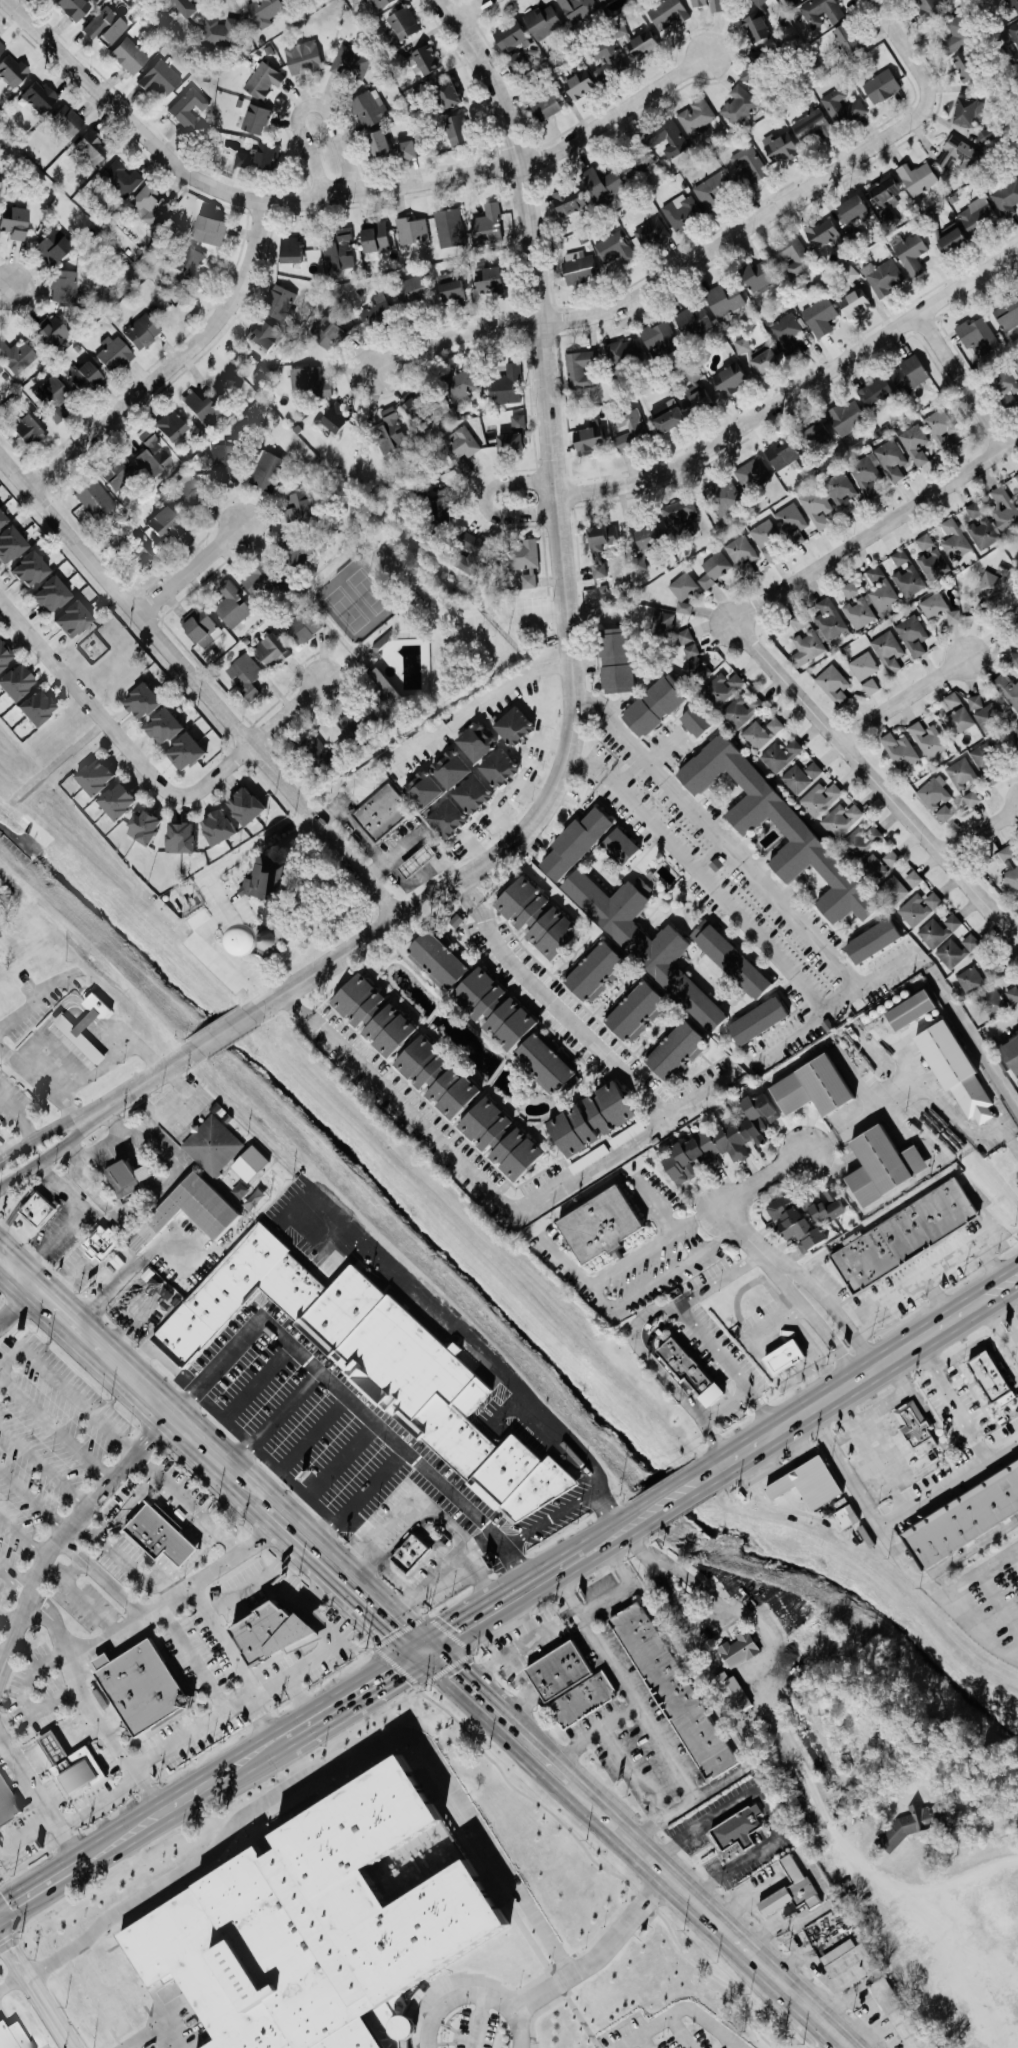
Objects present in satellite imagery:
building: (602, 1)
building: (756, 2)
building: (378, 3)
building: (709, 4)
building: (1011, 6)
building: (187, 7)
building: (929, 7)
building: (78, 8)
road: (468, 9)
building: (577, 9)
building: (267, 11)
building: (820, 12)
building: (666, 13)
building: (542, 22)
building: (403, 23)
building: (108, 26)
building: (756, 28)
building: (619, 30)
building: (221, 31)
building: (1011, 32)
building: (509, 36)
building: (844, 39)
building: (954, 42)
building: (640, 45)
building: (3, 48)
road: (905, 49)
building: (132, 57)
building: (306, 57)
building: (519, 58)
building: (423, 59)
building: (608, 61)
building: (351, 65)
building: (15, 71)
building: (163, 78)
building: (266, 80)
building: (577, 85)
building: (880, 86)
building: (445, 96)
building: (42, 97)
road: (309, 104)
building: (739, 105)
building: (842, 106)
building: (369, 108)
building: (544, 108)
building: (191, 109)
building: (966, 111)
building: (696, 116)
building: (259, 119)
building: (70, 122)
building: (810, 125)
building: (455, 129)
building: (668, 137)
building: (984, 137)
building: (376, 144)
building: (779, 146)
building: (94, 149)
building: (403, 150)
building: (956, 156)
building: (262, 157)
building: (637, 165)
building: (748, 165)
building: (917, 178)
building: (123, 179)
building: (601, 185)
building: (713, 189)
building: (883, 190)
road: (345, 193)
building: (1006, 196)
building: (151, 205)
building: (851, 209)
building: (680, 210)
building: (976, 214)
building: (18, 224)
building: (486, 226)
building: (449, 227)
building: (212, 230)
building: (411, 230)
building: (651, 232)
building: (822, 235)
building: (378, 238)
building: (949, 240)
building: (56, 248)
building: (614, 248)
building: (297, 251)
building: (342, 251)
building: (909, 251)
building: (792, 256)
building: (194, 258)
building: (576, 267)
road: (666, 274)
building: (883, 275)
building: (756, 276)
building: (486, 280)
building: (65, 286)
building: (408, 289)
road: (5, 290)
building: (449, 291)
building: (723, 300)
building: (282, 301)
building: (853, 302)
road: (536, 308)
building: (375, 310)
building: (1007, 314)
building: (819, 316)
building: (691, 320)
building: (55, 331)
building: (145, 331)
building: (324, 331)
building: (267, 335)
building: (977, 335)
building: (657, 336)
building: (786, 336)
building: (622, 352)
building: (117, 354)
building: (755, 356)
building: (16, 357)
building: (1016, 362)
road: (172, 363)
building: (580, 367)
building: (0, 372)
road: (967, 373)
building: (907, 374)
building: (89, 378)
building: (728, 379)
building: (308, 380)
building: (458, 382)
building: (506, 385)
building: (1006, 386)
building: (874, 391)
road: (795, 392)
building: (53, 397)
building: (699, 399)
building: (409, 405)
building: (199, 408)
building: (846, 416)
building: (333, 417)
building: (666, 418)
building: (168, 426)
building: (941, 428)
building: (25, 429)
building: (630, 429)
building: (388, 431)
building: (812, 434)
building: (513, 435)
building: (585, 439)
building: (914, 441)
building: (462, 448)
building: (150, 453)
building: (781, 454)
building: (891, 459)
building: (221, 460)
building: (265, 470)
building: (866, 471)
building: (117, 473)
building: (752, 473)
building: (1016, 477)
building: (841, 488)
building: (184, 495)
building: (723, 496)
building: (1017, 497)
building: (91, 498)
road: (484, 500)
building: (298, 503)
building: (817, 507)
building: (1002, 509)
building: (677, 513)
building: (792, 522)
building: (159, 523)
building: (981, 526)
building: (690, 527)
road: (873, 527)
building: (765, 533)
building: (643, 536)
building: (600, 537)
building: (954, 540)
building: (8, 541)
building: (468, 542)
building: (137, 550)
building: (742, 555)
building: (930, 556)
building: (899, 557)
building: (525, 561)
building: (637, 564)
building: (714, 568)
building: (25, 570)
road: (194, 572)
building: (254, 580)
building: (907, 580)
building: (989, 587)
building: (850, 590)
building: (881, 590)
building: (682, 591)
building: (46, 595)
building: (231, 606)
building: (940, 609)
building: (859, 613)
building: (1015, 615)
building: (67, 619)
building: (830, 620)
building: (661, 623)
park: (422, 626)
building: (304, 627)
building: (201, 628)
building: (913, 635)
building: (806, 641)
building: (269, 647)
building: (888, 650)
building: (3, 655)
building: (692, 657)
building: (1012, 658)
building: (612, 659)
building: (863, 665)
building: (245, 674)
building: (12, 682)
building: (383, 684)
building: (833, 684)
road: (201, 685)
building: (870, 686)
building: (722, 688)
building: (1007, 688)
road: (907, 696)
building: (952, 700)
building: (138, 701)
building: (975, 702)
road: (476, 704)
building: (651, 705)
building: (31, 707)
building: (741, 708)
road: (285, 713)
building: (988, 716)
building: (692, 720)
building: (959, 720)
building: (346, 722)
building: (510, 725)
building: (160, 726)
building: (1016, 732)
building: (762, 733)
building: (928, 739)
road: (115, 740)
building: (472, 741)
building: (313, 747)
road: (667, 749)
building: (900, 750)
building: (181, 751)
building: (985, 754)
building: (781, 755)
building: (495, 766)
building: (447, 768)
building: (961, 773)
building: (91, 776)
building: (801, 776)
road: (891, 782)
building: (421, 790)
building: (469, 794)
building: (933, 794)
building: (820, 799)
building: (971, 799)
building: (113, 800)
building: (241, 805)
building: (379, 812)
building: (944, 813)
building: (444, 818)
building: (841, 819)
building: (215, 825)
building: (790, 826)
road: (984, 826)
building: (141, 827)
building: (177, 837)
building: (862, 840)
building: (572, 842)
building: (617, 845)
building: (892, 858)
building: (414, 860)
road: (475, 867)
building: (874, 868)
building: (1010, 868)
building: (261, 879)
building: (914, 879)
building: (894, 890)
road: (662, 895)
building: (920, 908)
building: (531, 916)
road: (610, 918)
building: (453, 921)
road: (808, 927)
building: (938, 931)
building: (640, 939)
building: (870, 941)
building: (955, 951)
building: (432, 958)
building: (727, 959)
building: (589, 972)
building: (969, 978)
building: (999, 1000)
road: (558, 1001)
building: (490, 1007)
building: (906, 1010)
building: (630, 1011)
building: (369, 1015)
building: (755, 1020)
building: (89, 1027)
road: (221, 1030)
road: (998, 1030)
road: (133, 1036)
road: (106, 1038)
building: (670, 1050)
building: (1009, 1051)
building: (539, 1062)
building: (950, 1069)
road: (82, 1078)
building: (432, 1078)
road: (45, 1079)
road: (136, 1085)
building: (808, 1087)
road: (929, 1092)
road: (19, 1113)
building: (587, 1119)
road: (36, 1135)
building: (719, 1139)
building: (497, 1140)
building: (216, 1146)
road: (42, 1157)
building: (255, 1164)
road: (786, 1165)
building: (878, 1165)
building: (132, 1175)
road: (84, 1182)
road: (564, 1182)
building: (822, 1205)
building: (41, 1208)
building: (193, 1213)
road: (74, 1218)
building: (791, 1222)
building: (594, 1225)
road: (669, 1227)
building: (901, 1235)
road: (985, 1240)
road: (667, 1241)
building: (105, 1243)
road: (992, 1265)
road: (131, 1272)
road: (16, 1273)
road: (586, 1277)
road: (668, 1277)
road: (1011, 1281)
road: (1016, 1283)
road: (804, 1286)
road: (913, 1290)
road: (996, 1291)
road: (939, 1300)
road: (16, 1301)
road: (53, 1308)
road: (646, 1312)
road: (1003, 1322)
road: (479, 1351)
building: (780, 1358)
building: (379, 1361)
road: (728, 1362)
building: (685, 1371)
building: (988, 1379)
road: (844, 1388)
road: (68, 1392)
road: (893, 1402)
road: (951, 1402)
road: (725, 1407)
road: (274, 1421)
building: (914, 1428)
road: (54, 1431)
road: (713, 1443)
road: (209, 1453)
road: (868, 1456)
road: (420, 1461)
road: (43, 1467)
road: (847, 1470)
building: (807, 1483)
road: (951, 1485)
road: (670, 1498)
road: (359, 1499)
road: (33, 1500)
road: (411, 1501)
road: (187, 1502)
road: (127, 1506)
road: (556, 1516)
building: (962, 1518)
road: (636, 1519)
road: (630, 1523)
road: (64, 1531)
road: (199, 1531)
road: (600, 1531)
road: (24, 1537)
road: (105, 1544)
road: (181, 1550)
building: (415, 1553)
road: (453, 1556)
road: (538, 1563)
road: (981, 1567)
road: (945, 1570)
road: (392, 1576)
road: (100, 1577)
road: (623, 1578)
road: (16, 1579)
road: (154, 1579)
road: (277, 1585)
road: (931, 1586)
road: (177, 1590)
road: (533, 1594)
road: (724, 1609)
road: (457, 1613)
road: (682, 1615)
road: (389, 1619)
road: (8, 1623)
road: (975, 1632)
building: (280, 1634)
road: (221, 1635)
traffic signals: (415, 1642)
road: (599, 1642)
building: (739, 1649)
road: (322, 1655)
road: (188, 1656)
road: (3, 1657)
traffic signals: (435, 1660)
building: (558, 1670)
road: (390, 1686)
building: (149, 1687)
road: (300, 1691)
building: (672, 1691)
building: (732, 1692)
building: (582, 1700)
road: (85, 1702)
road: (254, 1715)
road: (187, 1727)
road: (77, 1732)
road: (593, 1733)
road: (51, 1748)
road: (667, 1749)
road: (242, 1751)
road: (30, 1761)
building: (77, 1764)
road: (645, 1785)
road: (766, 1795)
road: (36, 1797)
building: (9, 1802)
road: (172, 1820)
building: (909, 1824)
building: (737, 1828)
road: (25, 1835)
road: (640, 1853)
road: (857, 1860)
road: (34, 1878)
building: (791, 1890)
building: (1014, 1891)
building: (318, 1926)
road: (597, 1952)
building: (846, 1963)
road: (12, 1982)
road: (473, 1989)
road: (35, 1991)
road: (683, 2011)
road: (150, 2023)
parking lot: (670, 2030)
road: (171, 2032)
building: (6, 2037)
road: (1015, 2045)

